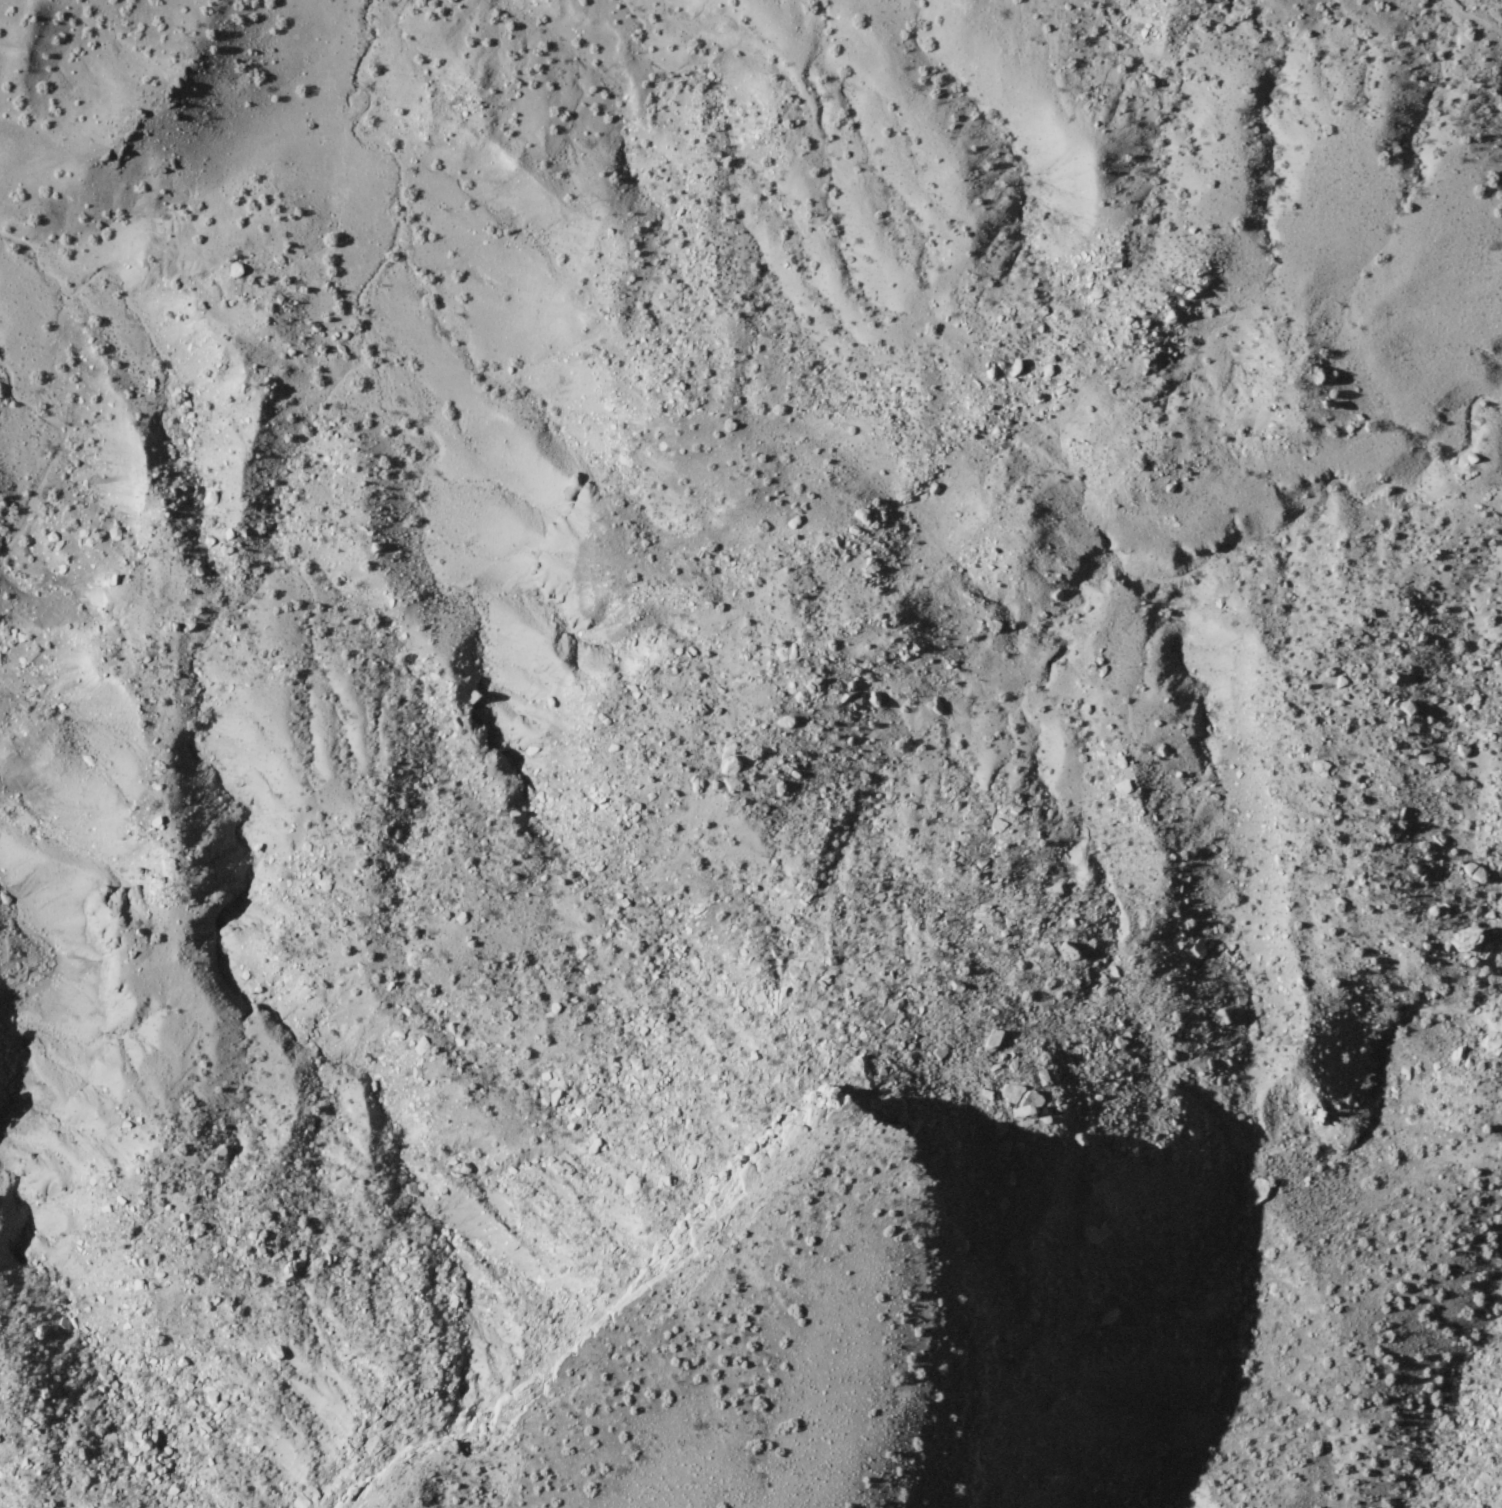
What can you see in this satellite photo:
building: (1015, 1250)

